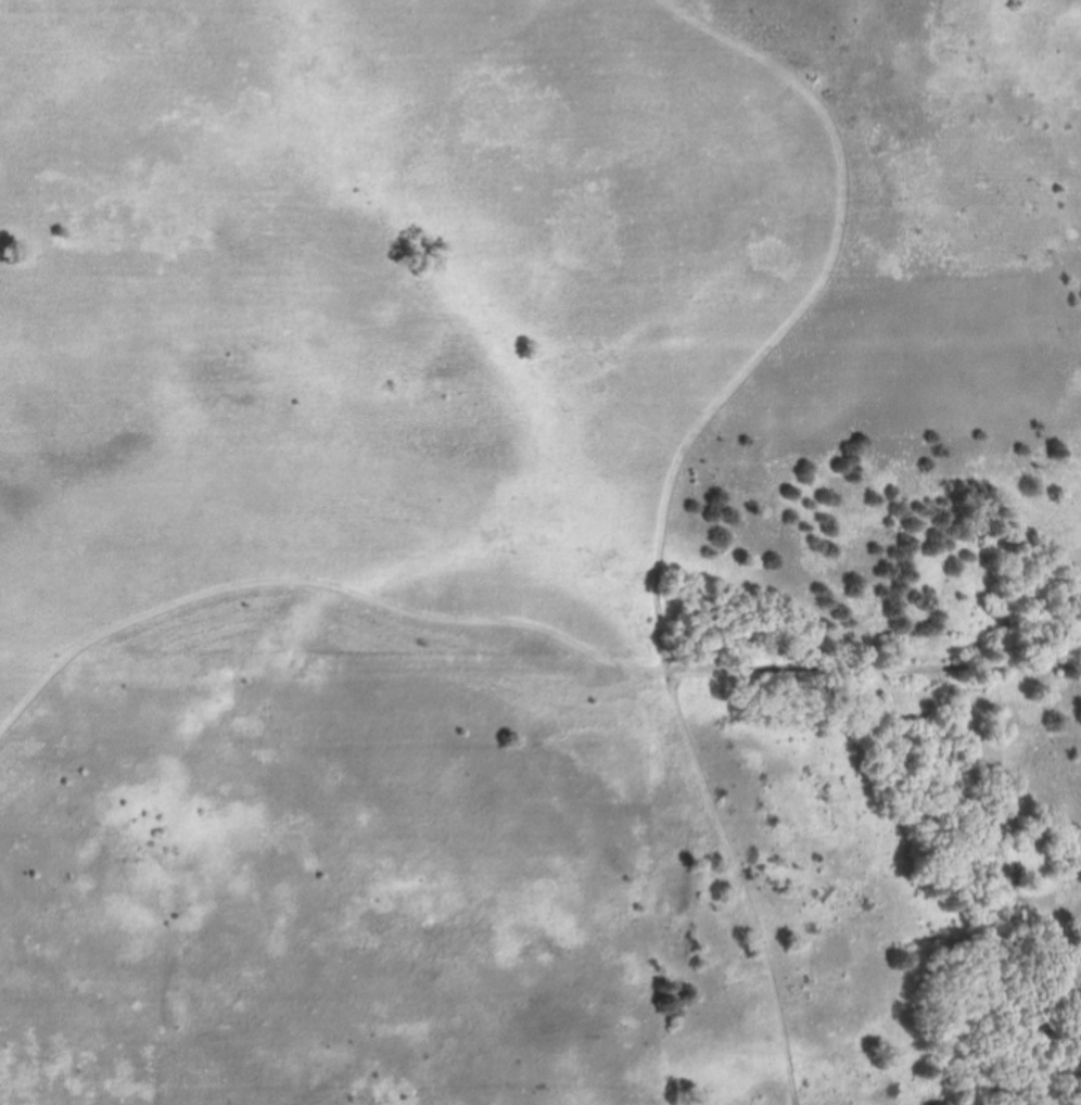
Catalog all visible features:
road: (804, 307)
park: (540, 552)
road: (315, 580)
road: (874, 664)
road: (741, 884)

